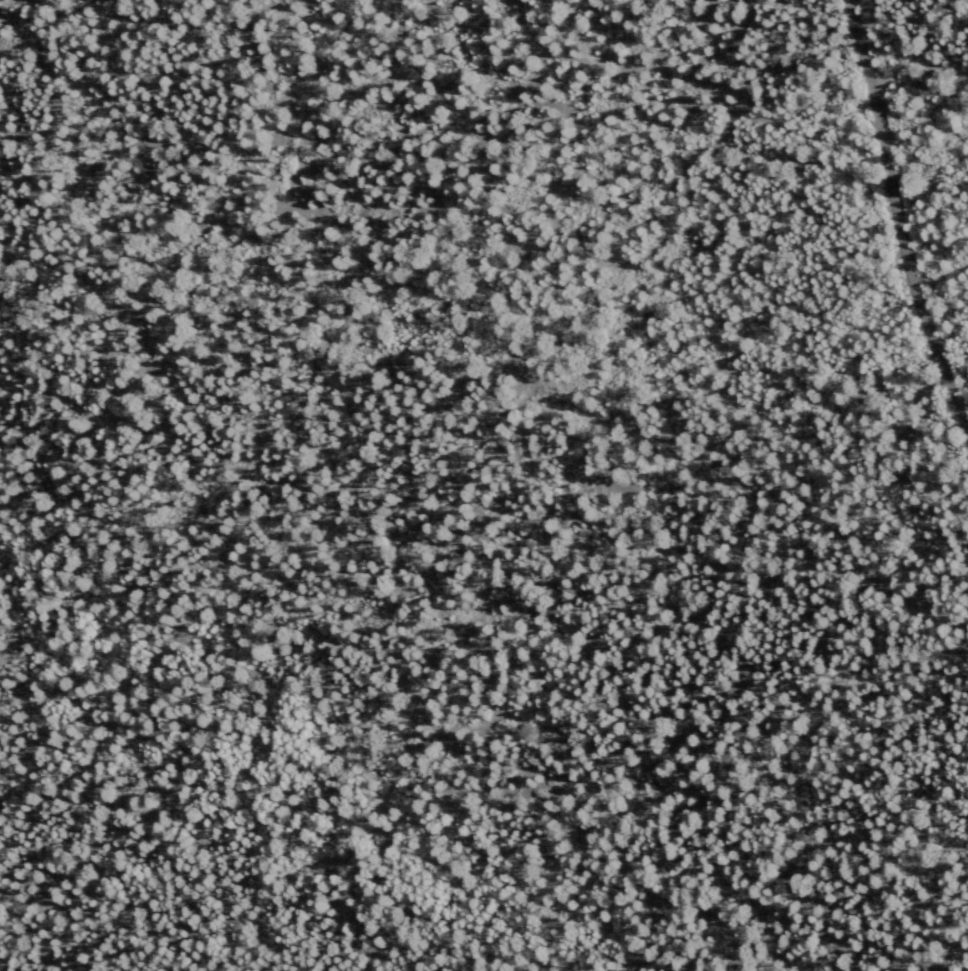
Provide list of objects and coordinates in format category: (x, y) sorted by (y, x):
road: (926, 241)

